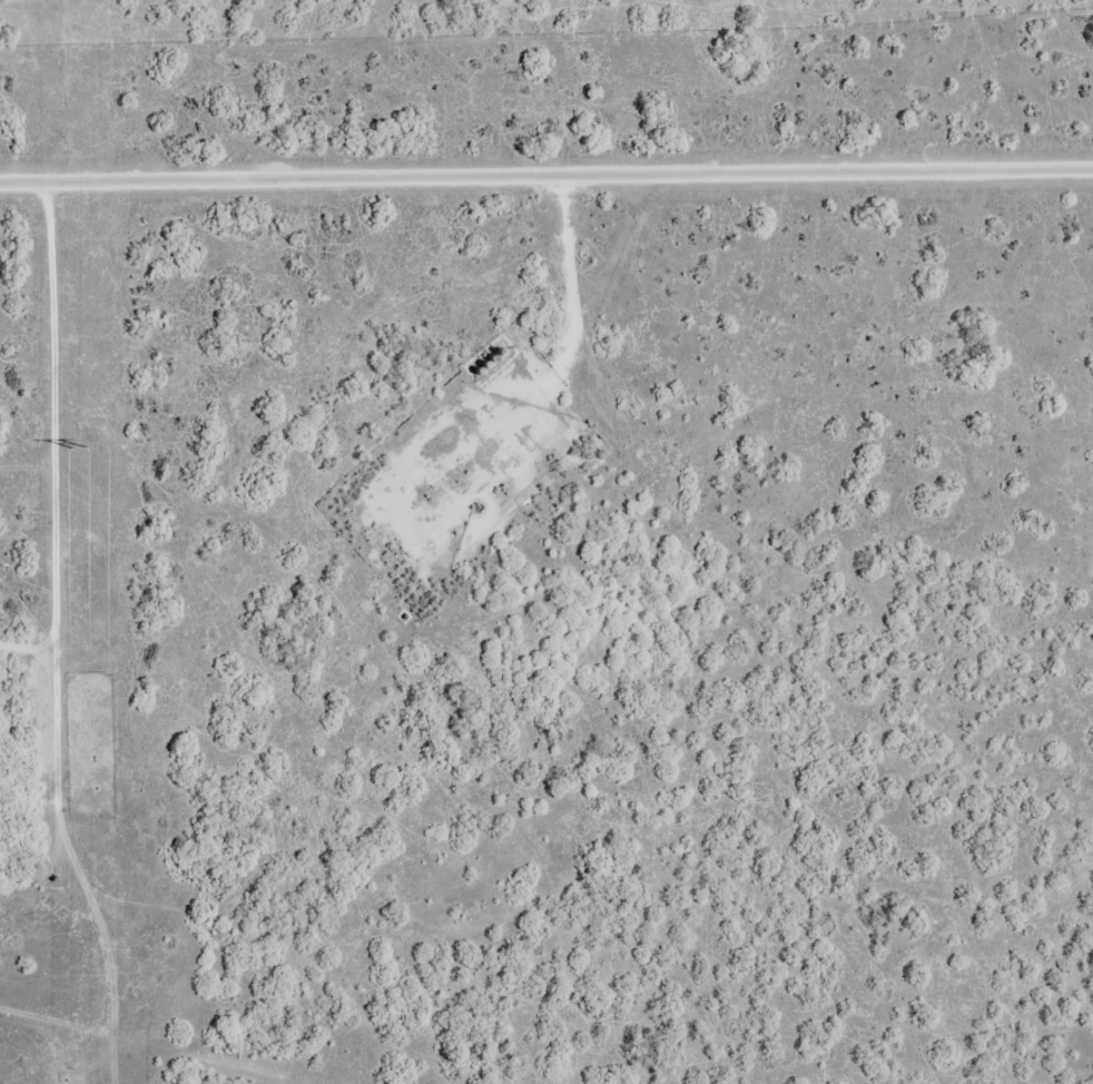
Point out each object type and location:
road: (546, 162)
power tower: (82, 444)

